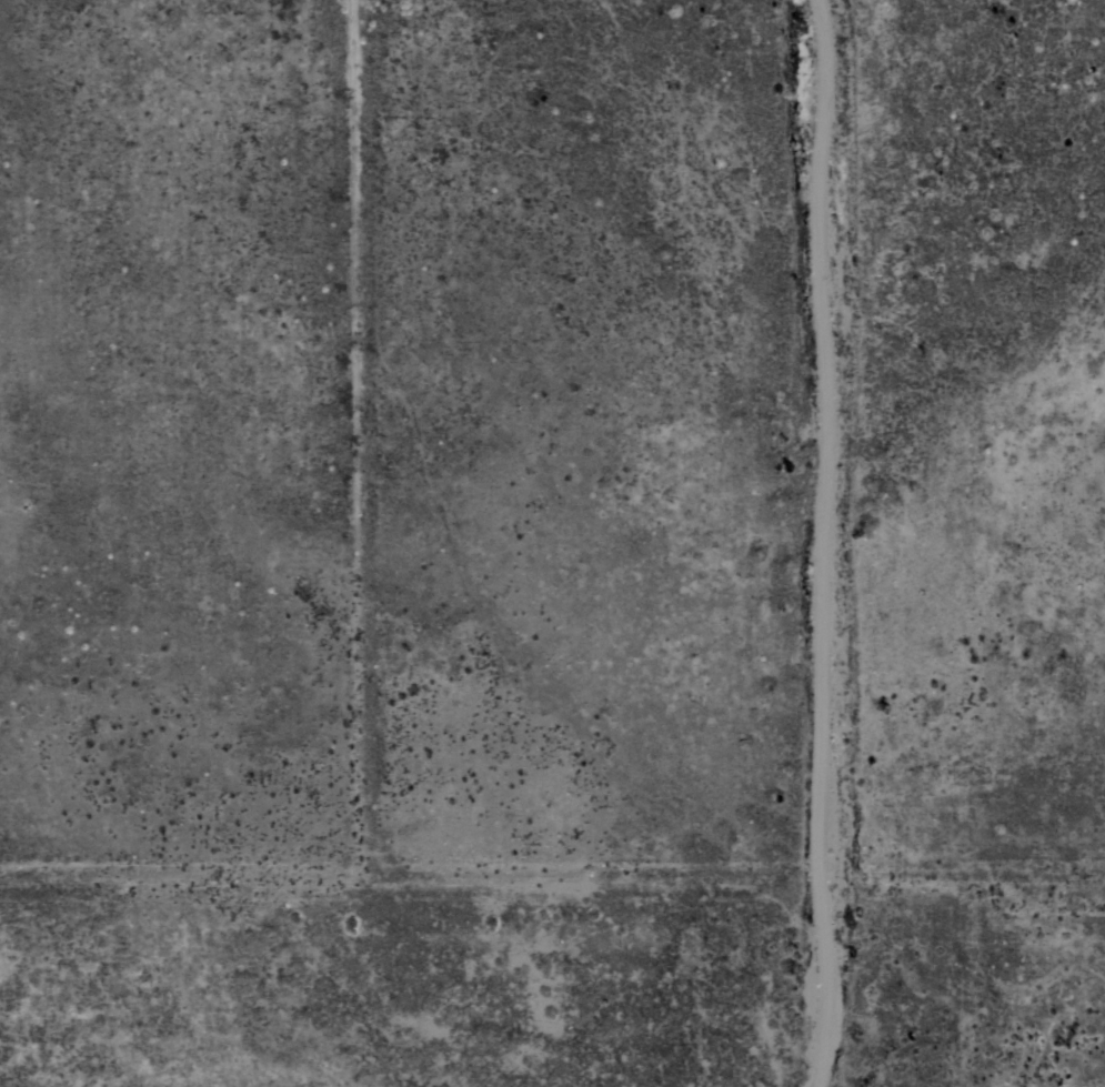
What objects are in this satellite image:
road: (359, 434)
road: (813, 545)
road: (555, 865)

